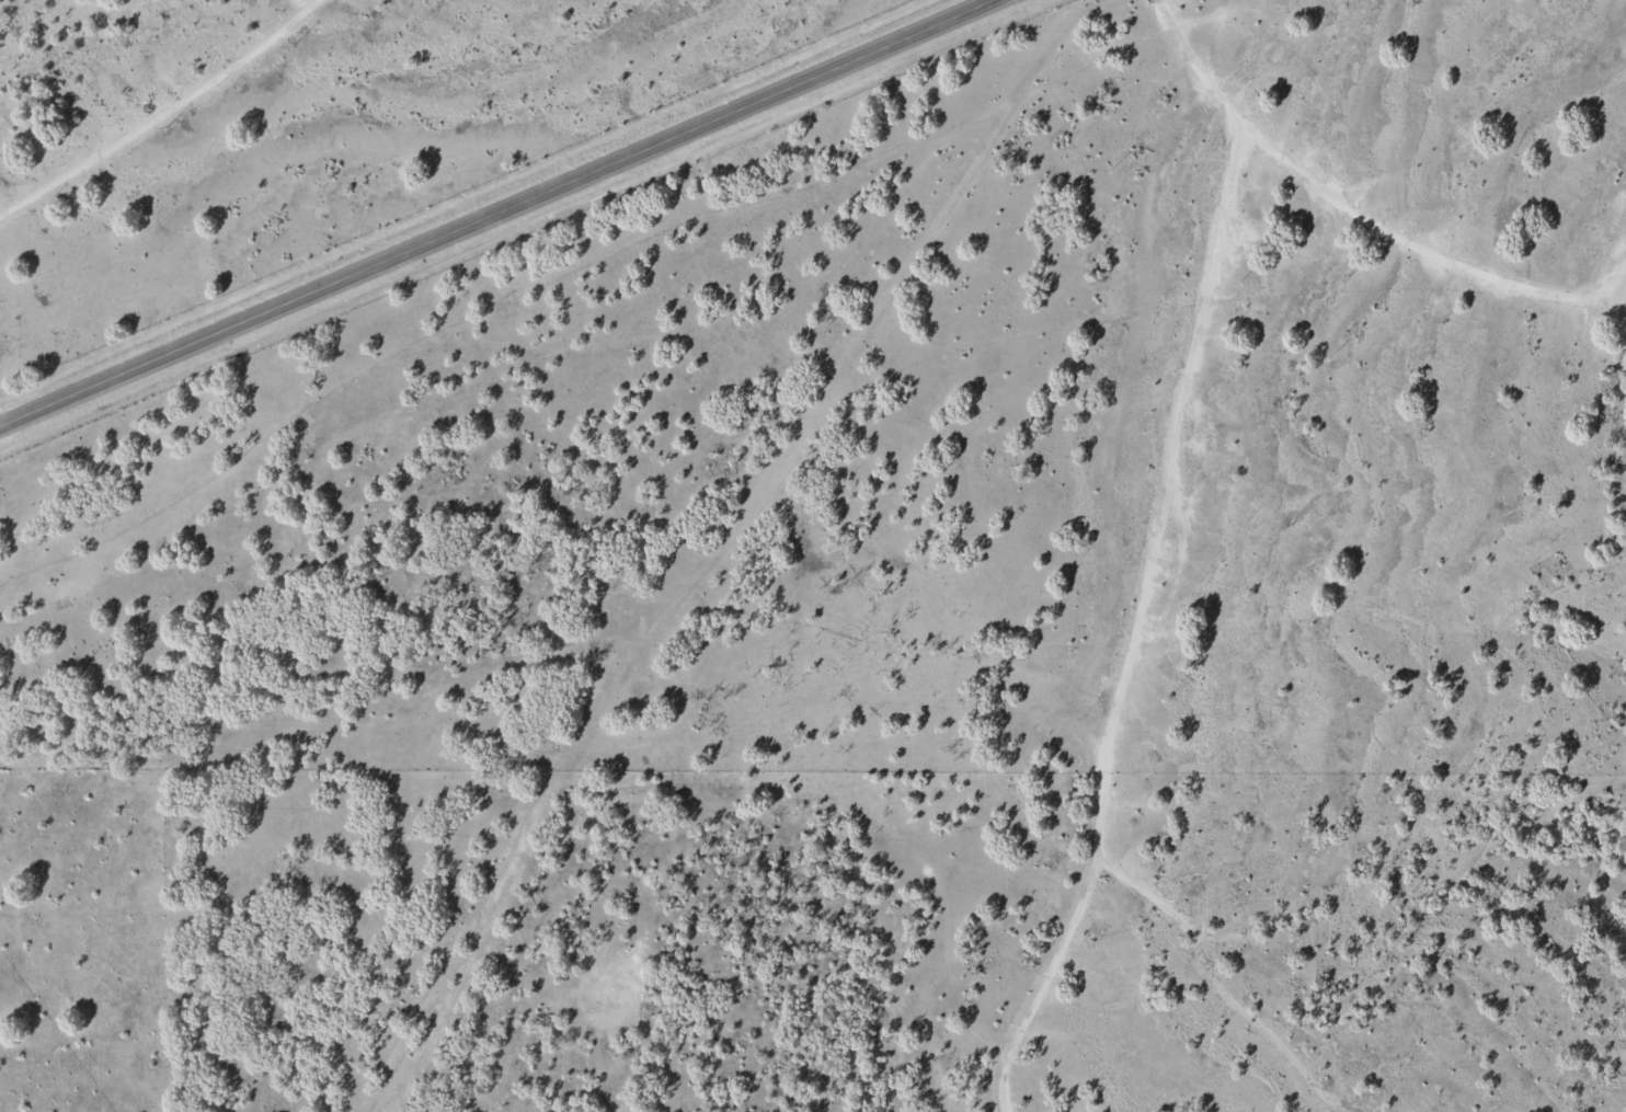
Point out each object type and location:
road: (497, 217)

